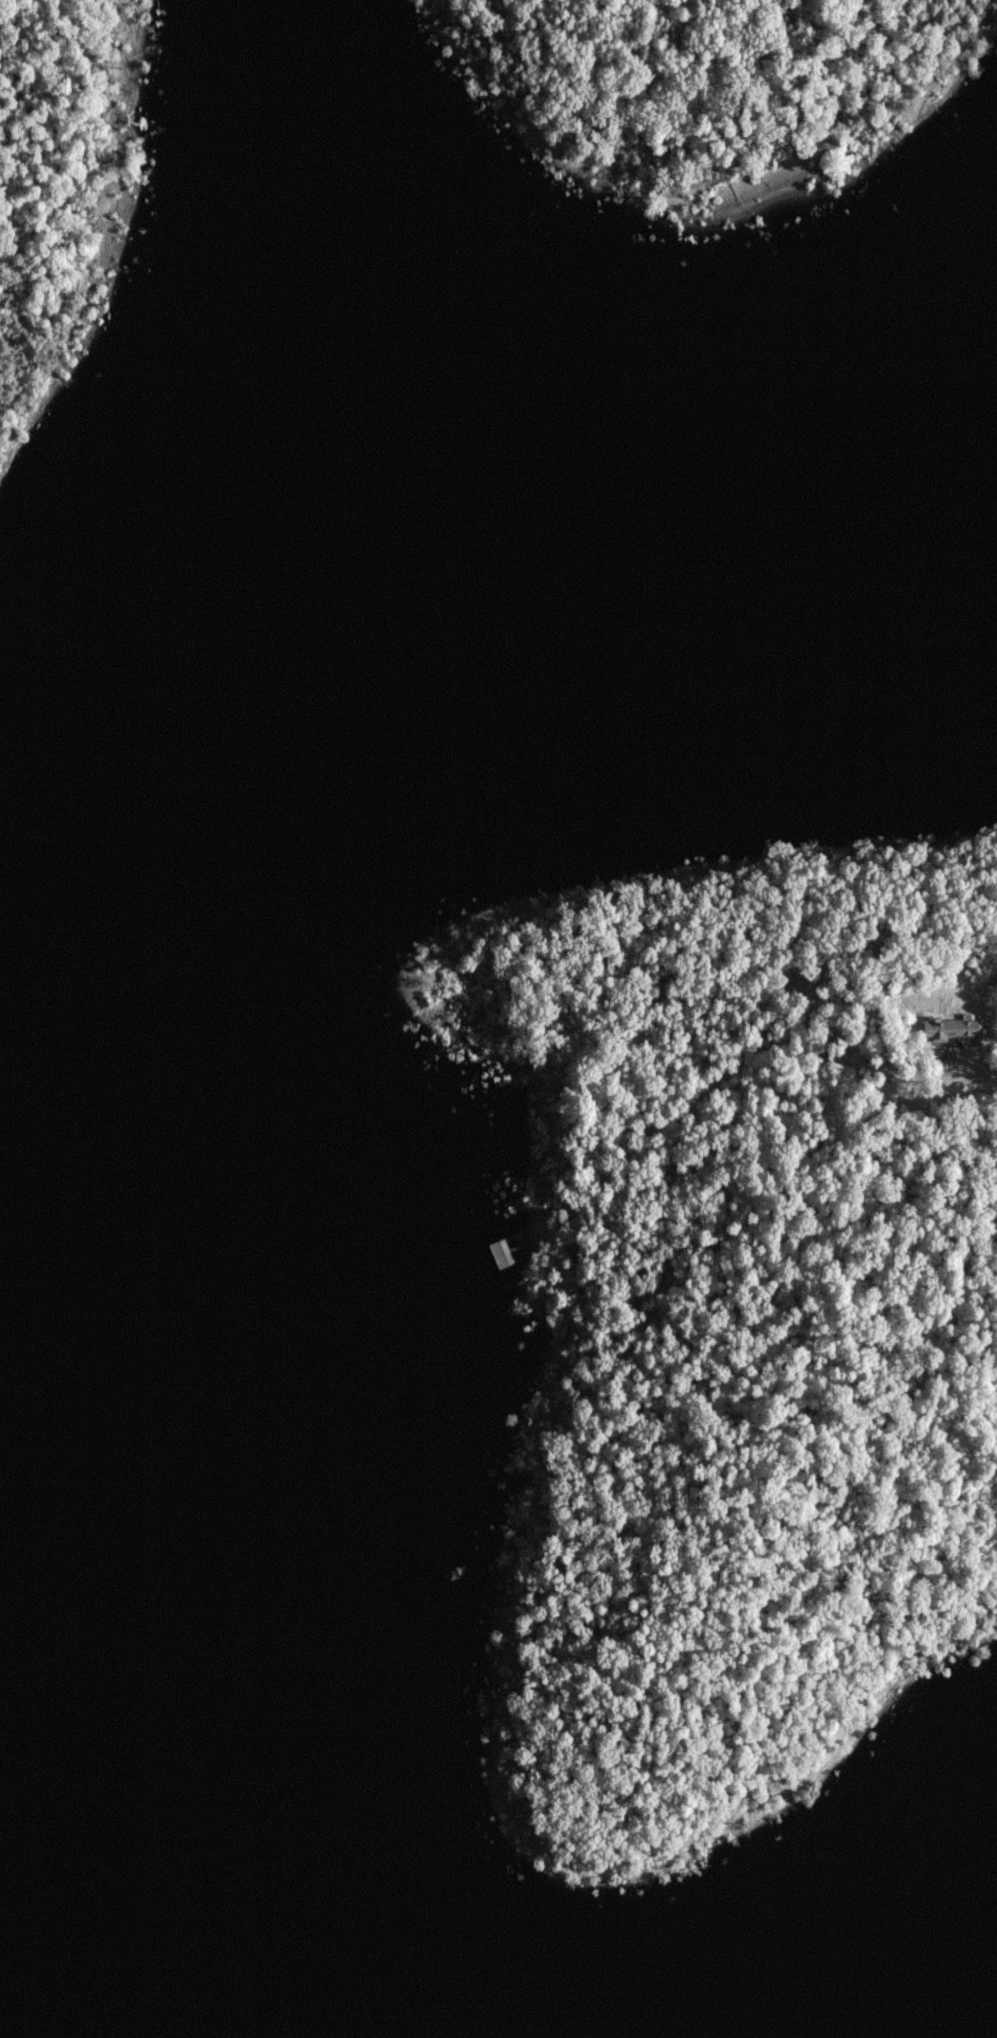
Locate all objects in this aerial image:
building: (952, 1027)
road: (757, 1046)

